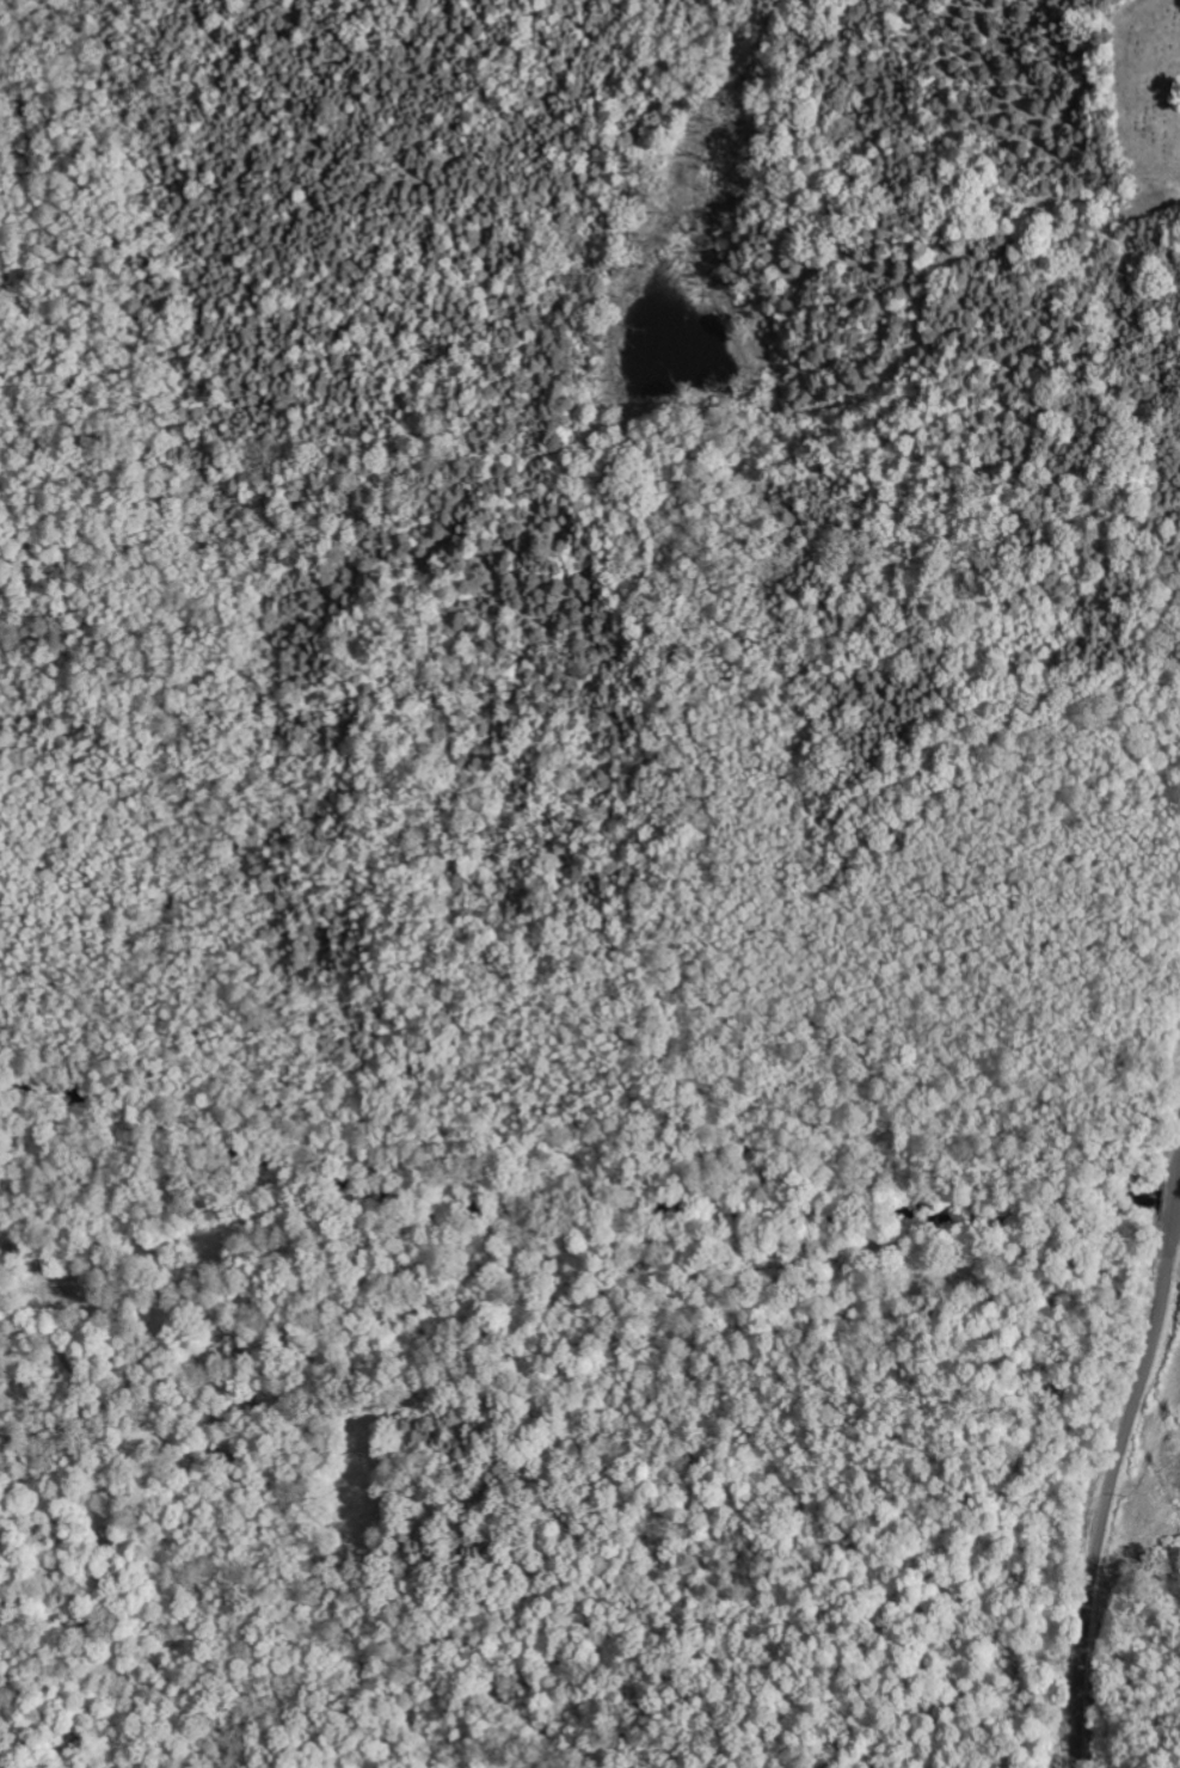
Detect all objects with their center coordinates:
park: (1143, 94)
road: (1119, 1462)

